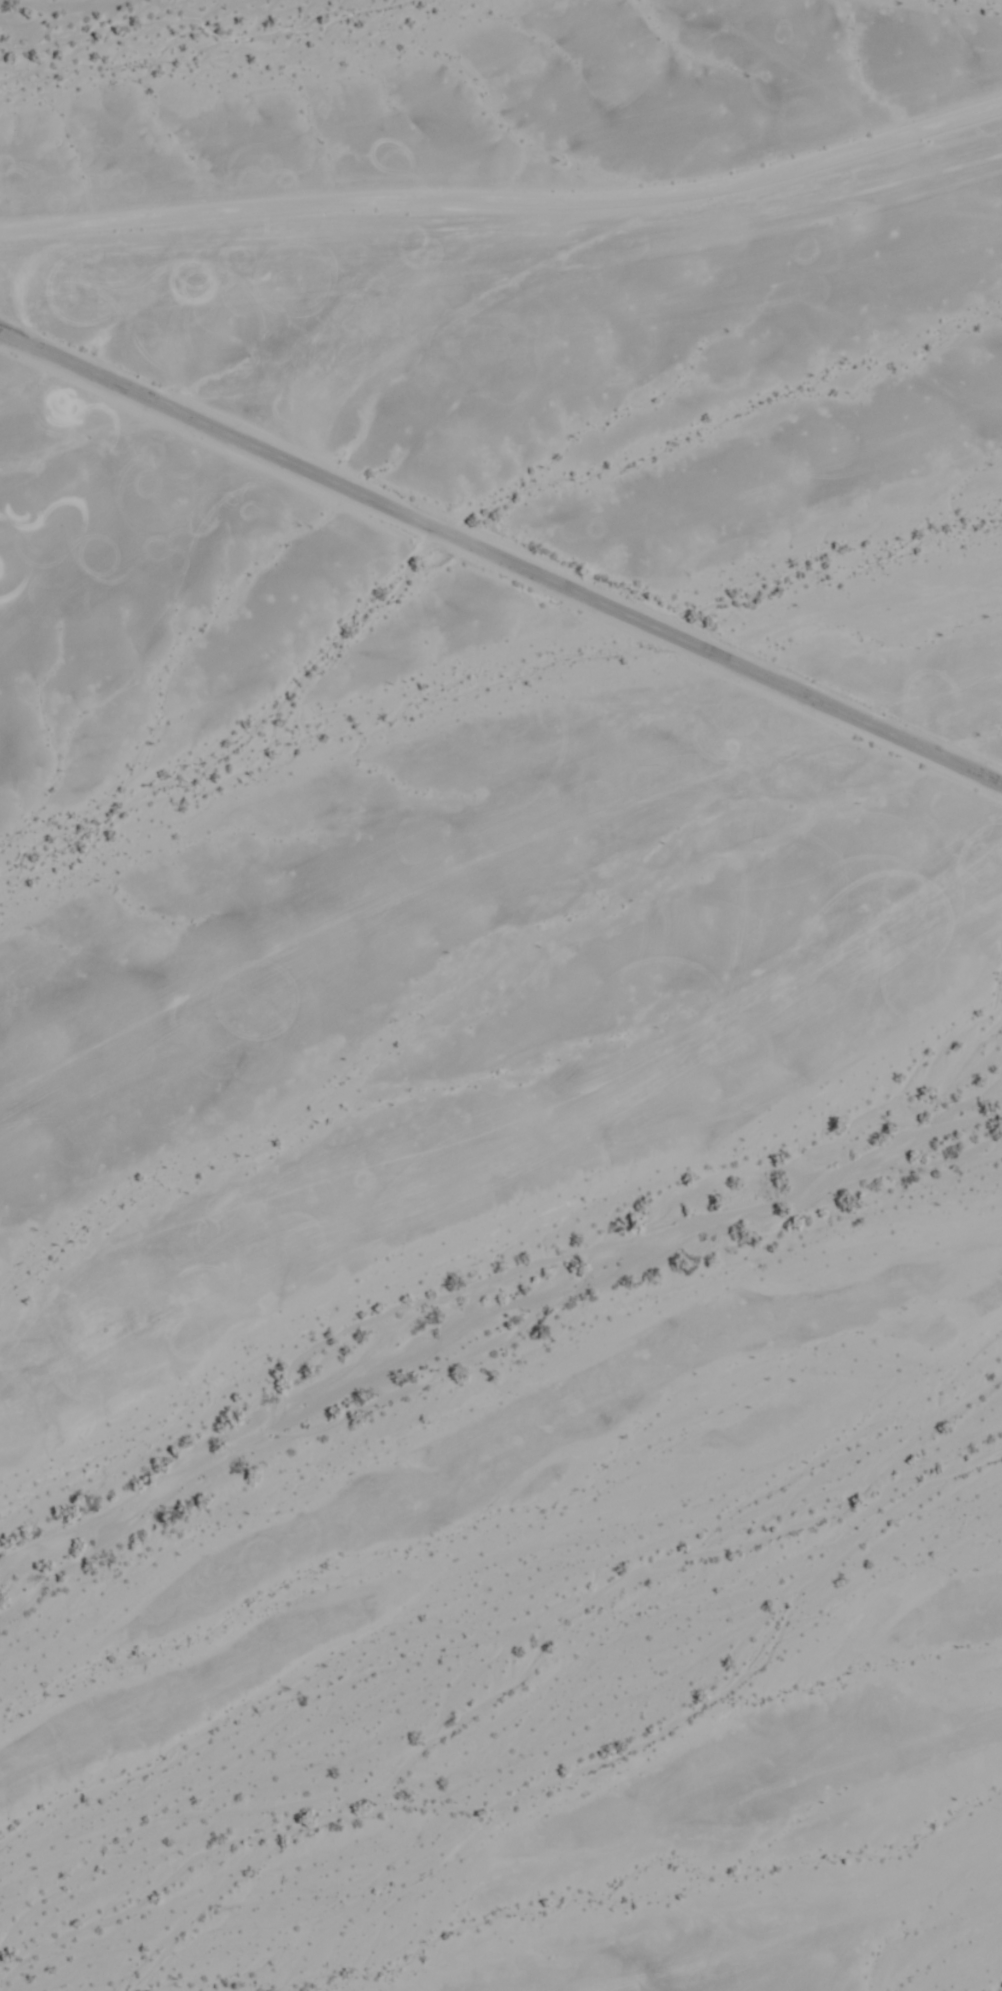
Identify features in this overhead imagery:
road: (504, 201)
road: (501, 558)

